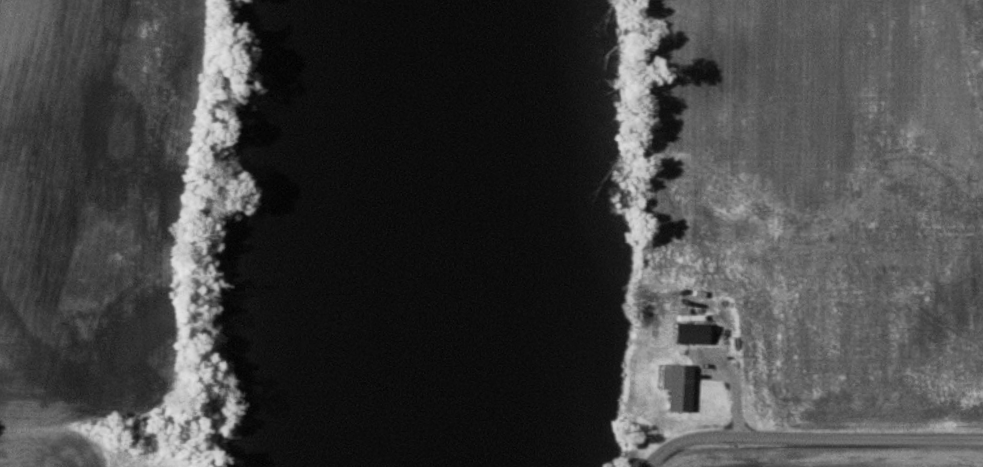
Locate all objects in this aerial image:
building: (690, 334)
building: (676, 388)
road: (737, 405)
road: (813, 439)

